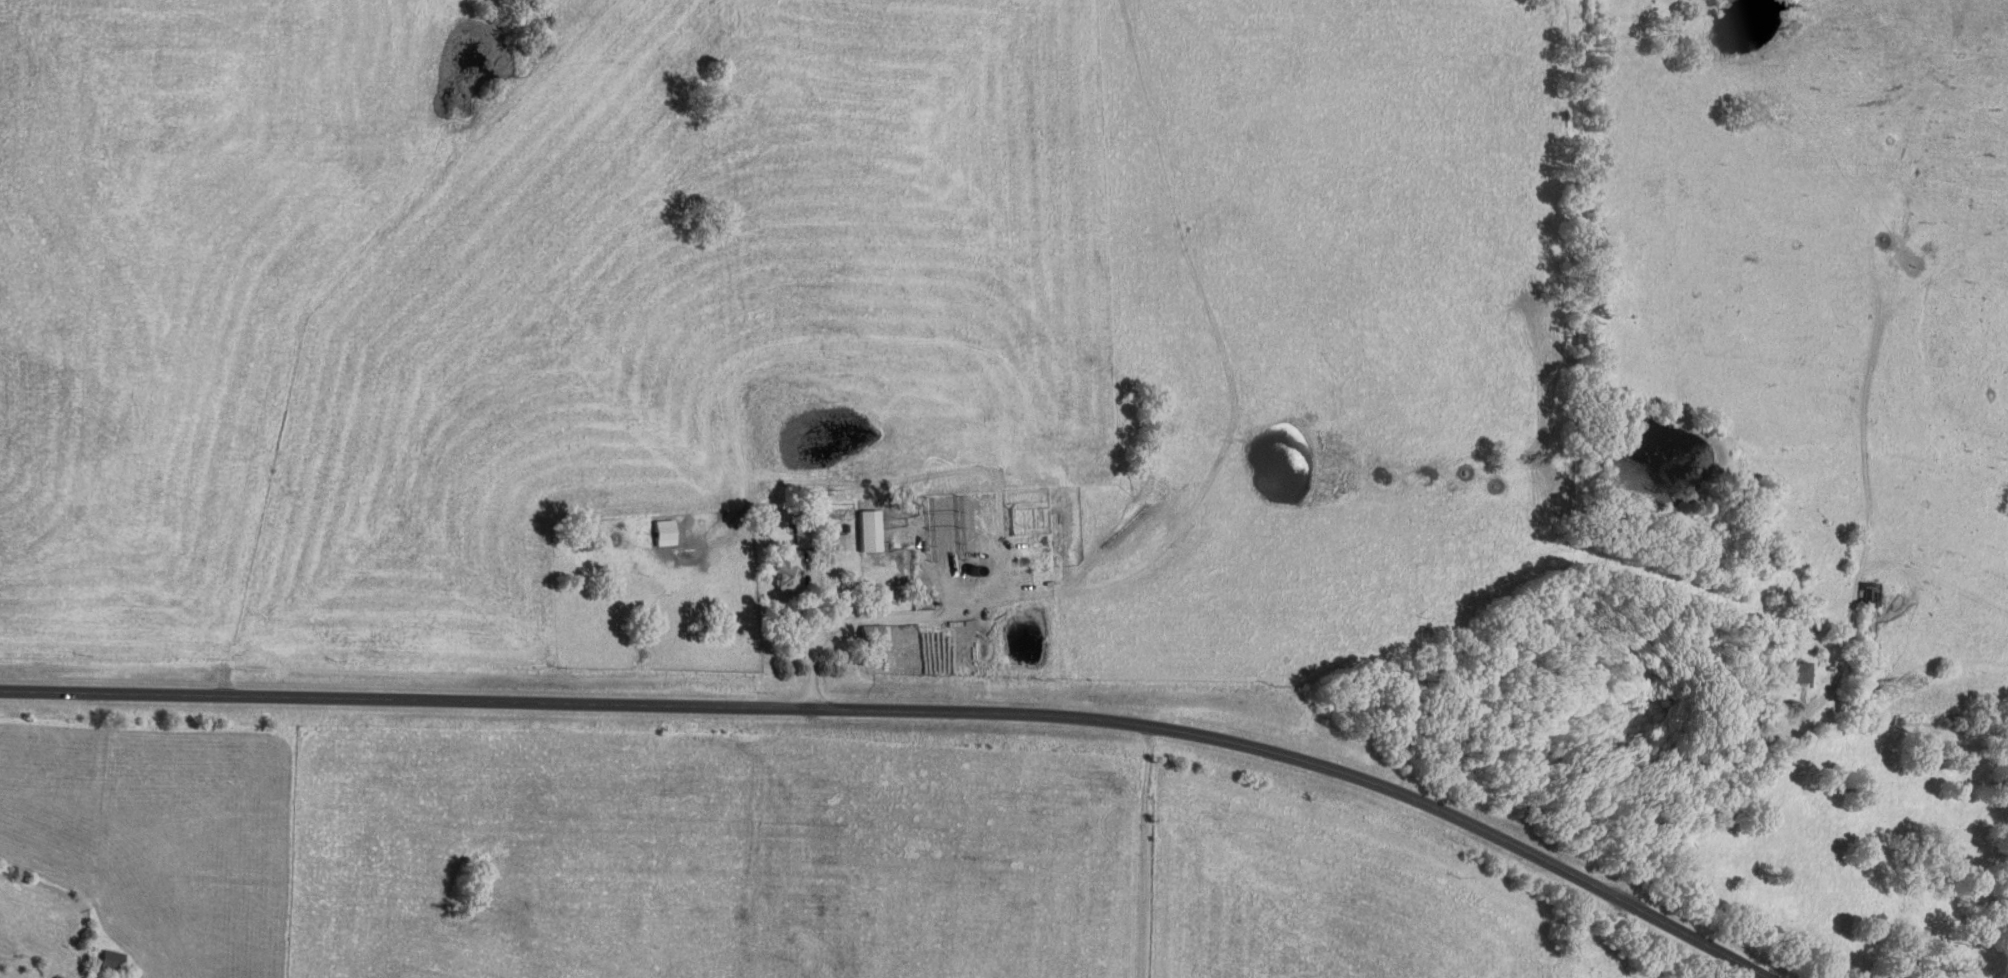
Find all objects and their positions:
building: (867, 530)
building: (662, 532)
building: (839, 541)
building: (783, 573)
building: (873, 632)
building: (1797, 671)
road: (908, 711)
road: (1717, 808)

